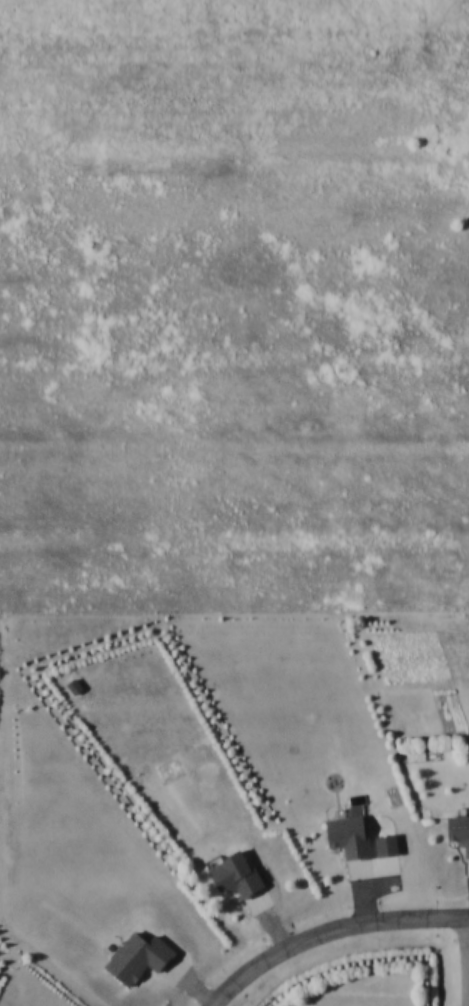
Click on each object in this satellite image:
building: (457, 831)
building: (346, 835)
building: (232, 874)
road: (332, 935)
building: (135, 956)

